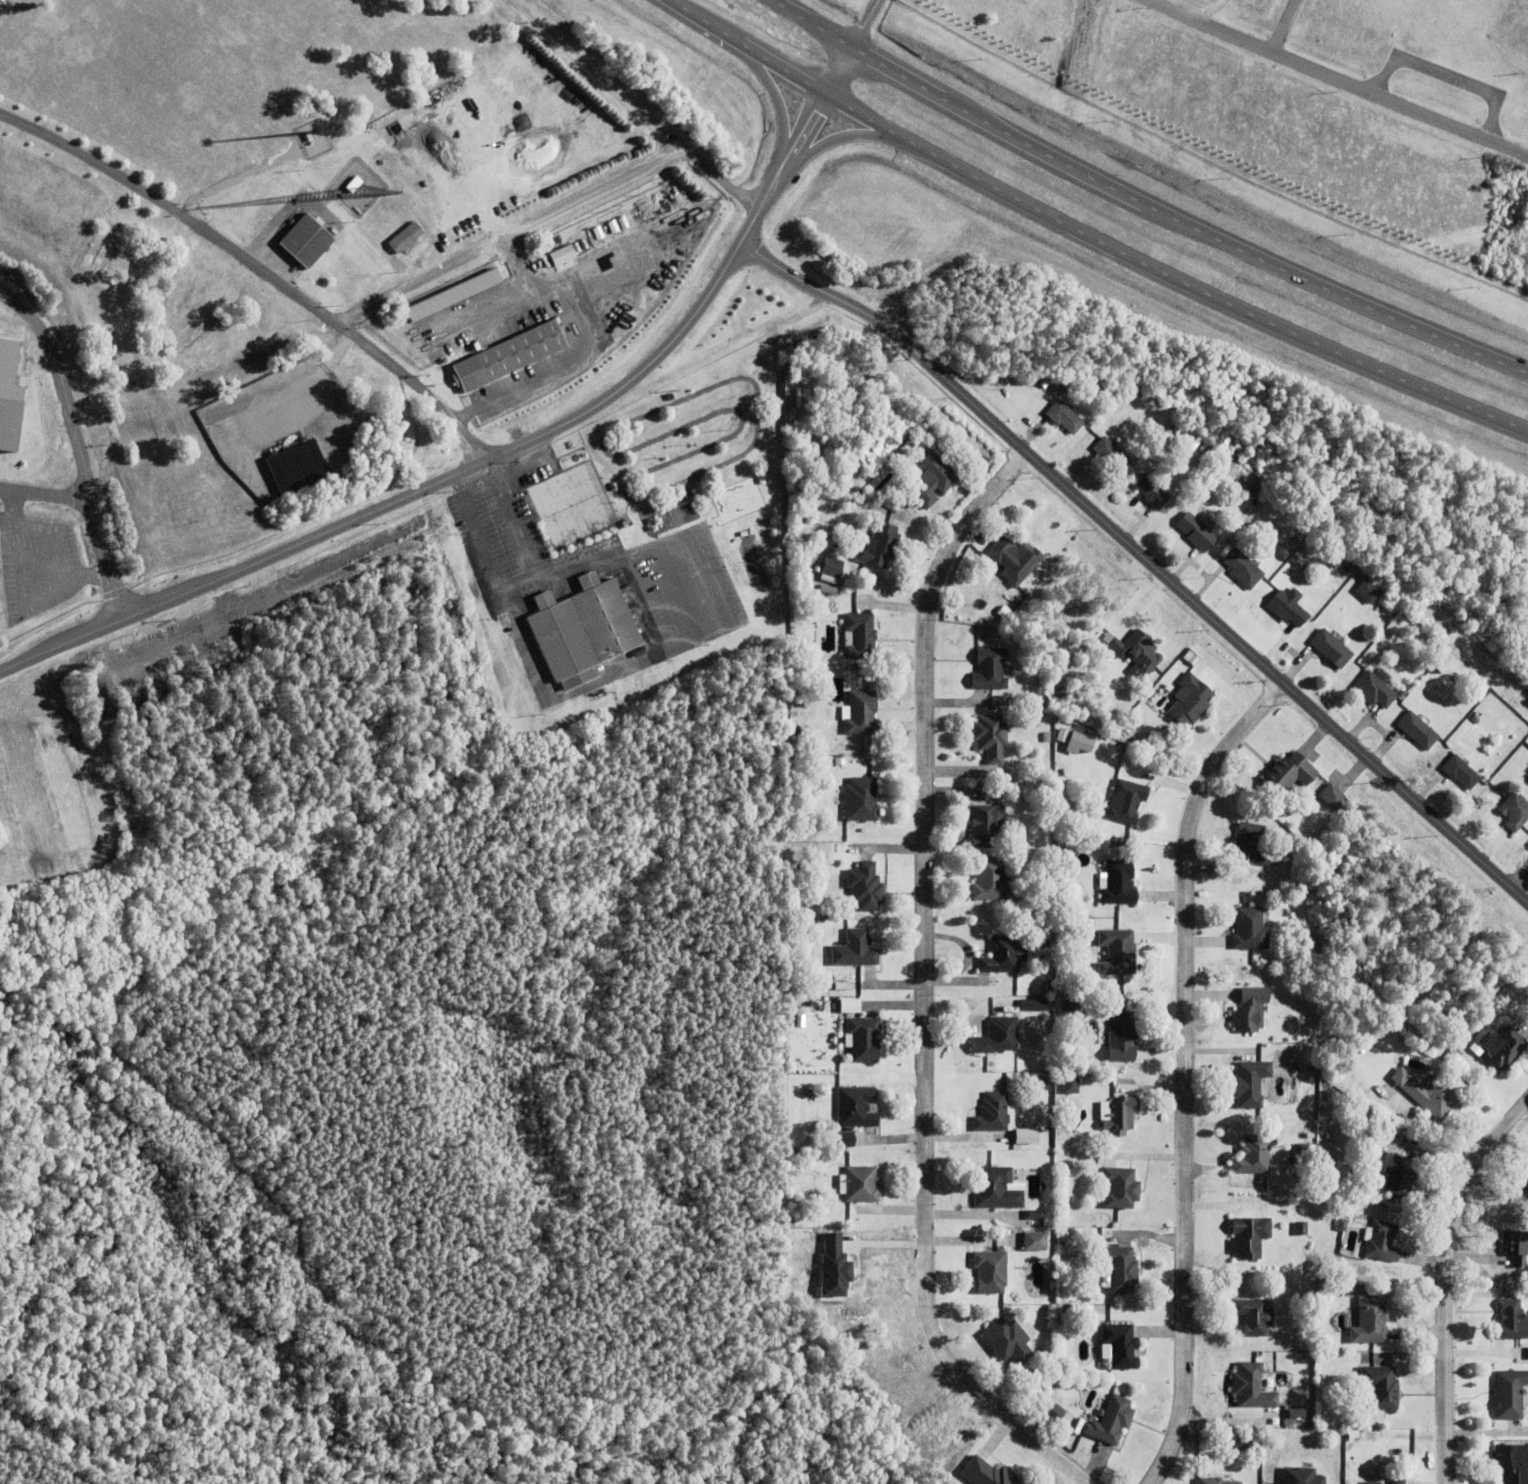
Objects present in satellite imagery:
road: (863, 23)
road: (766, 76)
road: (1335, 78)
road: (843, 137)
road: (679, 142)
building: (354, 183)
road: (1141, 203)
building: (614, 225)
building: (599, 233)
road: (509, 234)
road: (1088, 236)
building: (406, 238)
building: (306, 239)
building: (565, 255)
building: (619, 260)
road: (255, 266)
road: (514, 267)
road: (613, 285)
building: (452, 292)
road: (573, 321)
building: (508, 352)
building: (1066, 385)
building: (1138, 386)
building: (10, 395)
building: (798, 397)
building: (1064, 416)
road: (75, 447)
road: (501, 450)
building: (1110, 452)
building: (295, 466)
building: (934, 478)
road: (44, 492)
building: (1152, 492)
building: (858, 503)
park: (568, 504)
building: (625, 522)
parking lot: (499, 523)
building: (1197, 531)
building: (880, 546)
road: (1143, 557)
building: (1015, 559)
building: (832, 567)
building: (1348, 567)
building: (1243, 569)
road: (521, 582)
parking lot: (684, 587)
building: (828, 590)
building: (1366, 590)
building: (1288, 607)
building: (580, 627)
building: (860, 636)
building: (1331, 648)
building: (990, 669)
building: (1375, 690)
building: (1190, 701)
building: (1044, 705)
building: (862, 714)
building: (1478, 730)
building: (1418, 731)
building: (991, 737)
building: (1047, 738)
building: (1082, 743)
building: (796, 744)
building: (840, 762)
building: (1461, 772)
building: (1289, 774)
building: (1331, 796)
building: (862, 800)
building: (1127, 802)
building: (1514, 811)
building: (988, 827)
building: (1250, 845)
building: (813, 867)
road: (1520, 879)
building: (991, 880)
building: (1119, 883)
building: (866, 887)
building: (1250, 930)
building: (855, 951)
building: (1118, 953)
building: (1305, 954)
building: (1003, 956)
building: (1311, 976)
building: (1527, 983)
building: (844, 987)
road: (919, 987)
building: (1050, 987)
building: (852, 1004)
building: (1034, 1004)
building: (1072, 1006)
building: (833, 1007)
building: (1250, 1011)
building: (1122, 1036)
building: (1000, 1037)
building: (863, 1040)
building: (1504, 1050)
road: (1174, 1063)
building: (1116, 1068)
building: (1249, 1084)
building: (1071, 1086)
building: (813, 1093)
building: (1428, 1094)
building: (856, 1108)
building: (993, 1114)
building: (1120, 1117)
building: (1030, 1135)
building: (1255, 1154)
building: (1301, 1156)
building: (1527, 1164)
building: (1069, 1165)
building: (1396, 1174)
building: (859, 1186)
building: (1526, 1187)
building: (1121, 1189)
building: (996, 1190)
building: (800, 1215)
building: (1035, 1216)
building: (1342, 1226)
building: (1301, 1229)
building: (1063, 1238)
building: (1250, 1238)
building: (1036, 1240)
building: (1382, 1243)
building: (1515, 1247)
building: (1120, 1269)
building: (993, 1274)
road: (1440, 1275)
building: (1059, 1309)
building: (1085, 1314)
building: (1254, 1317)
building: (1510, 1322)
building: (1370, 1323)
building: (1009, 1342)
building: (1119, 1348)
building: (1240, 1360)
building: (1252, 1388)
building: (1381, 1388)
building: (1066, 1392)
building: (1509, 1395)
building: (1309, 1401)
building: (1298, 1412)
building: (1111, 1423)
building: (1353, 1436)
building: (1243, 1445)
building: (1511, 1464)
building: (1301, 1477)
building: (1398, 1481)
building: (1212, 1482)
building: (1375, 1482)
building: (1227, 1483)

